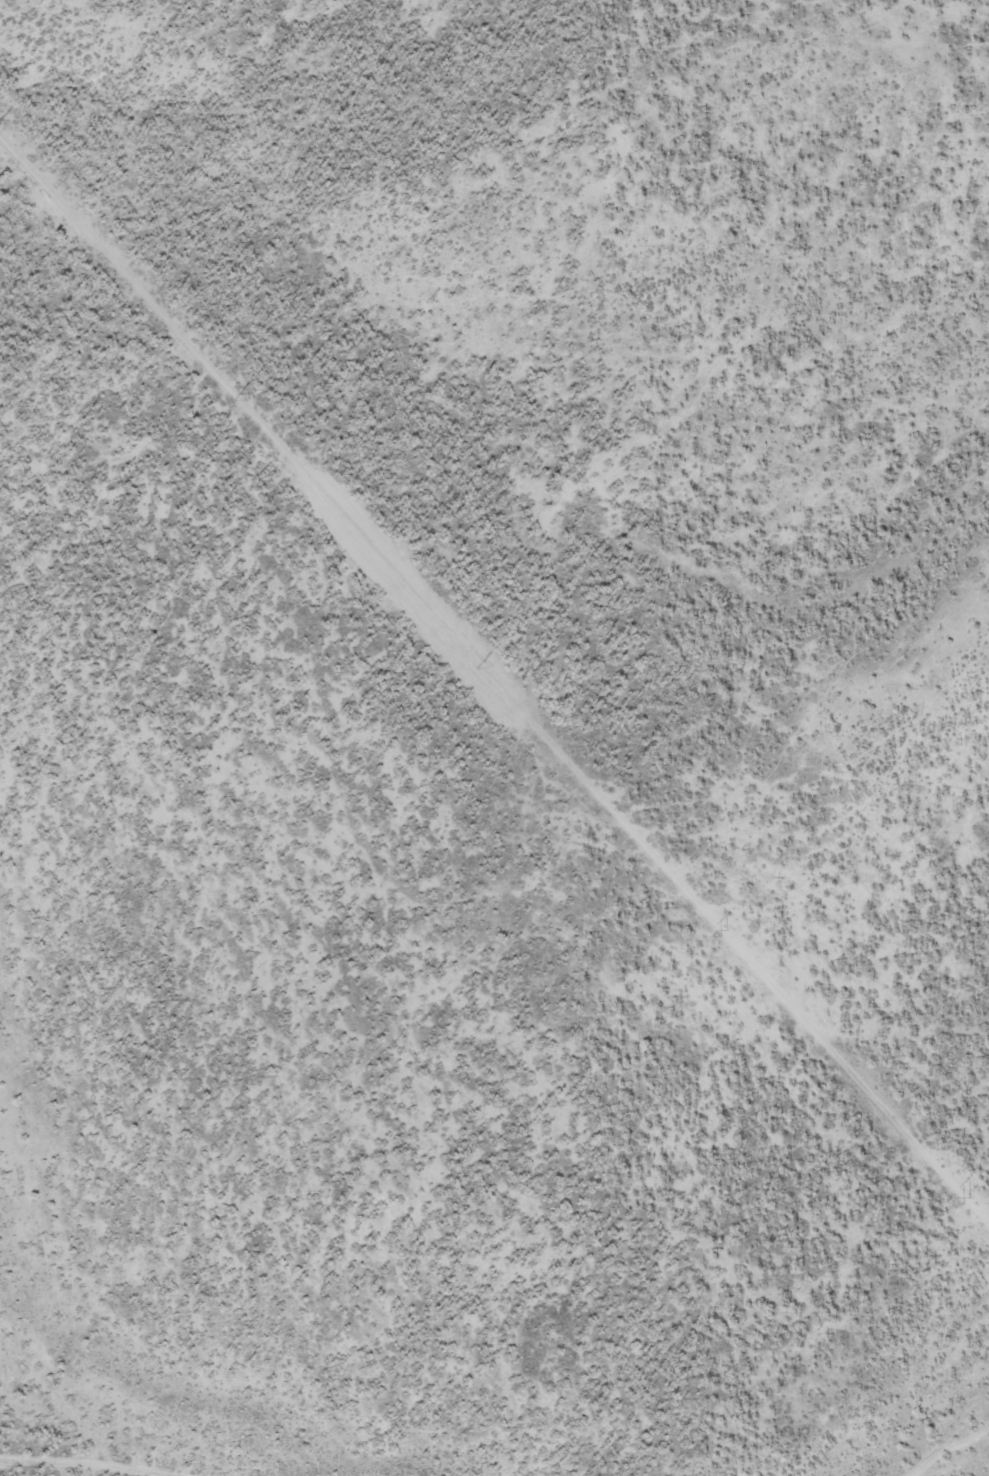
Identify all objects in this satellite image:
power tower: (234, 397)
power tower: (478, 665)
road: (494, 676)
power tower: (721, 932)
power tower: (963, 1200)
road: (947, 1445)
road: (80, 1463)

